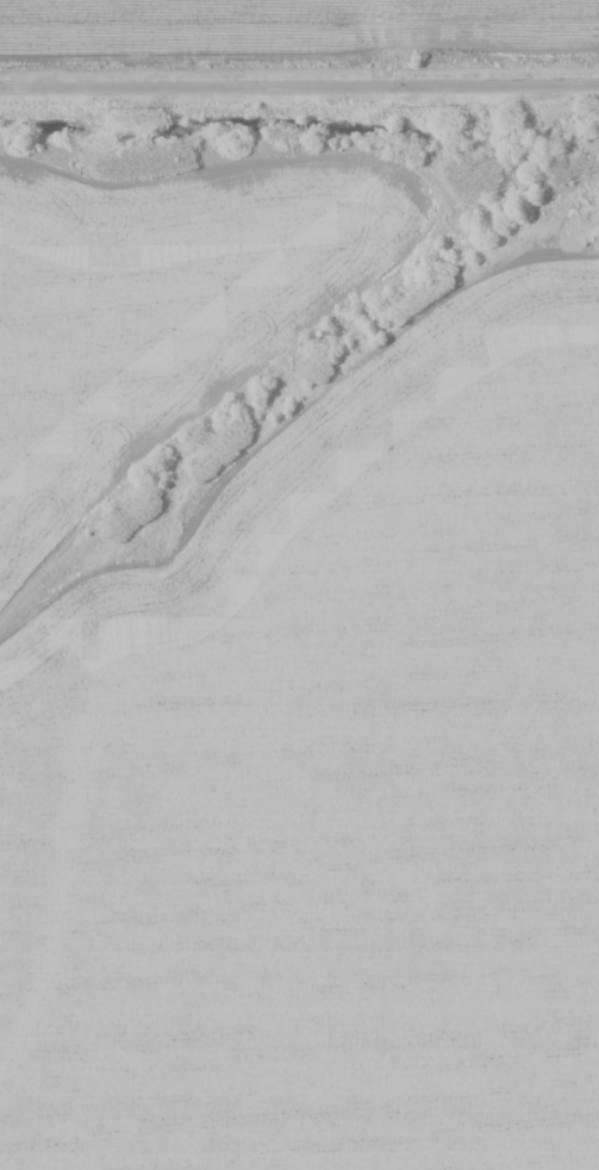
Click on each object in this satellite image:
road: (299, 60)
power tower: (403, 104)
power tower: (126, 105)

